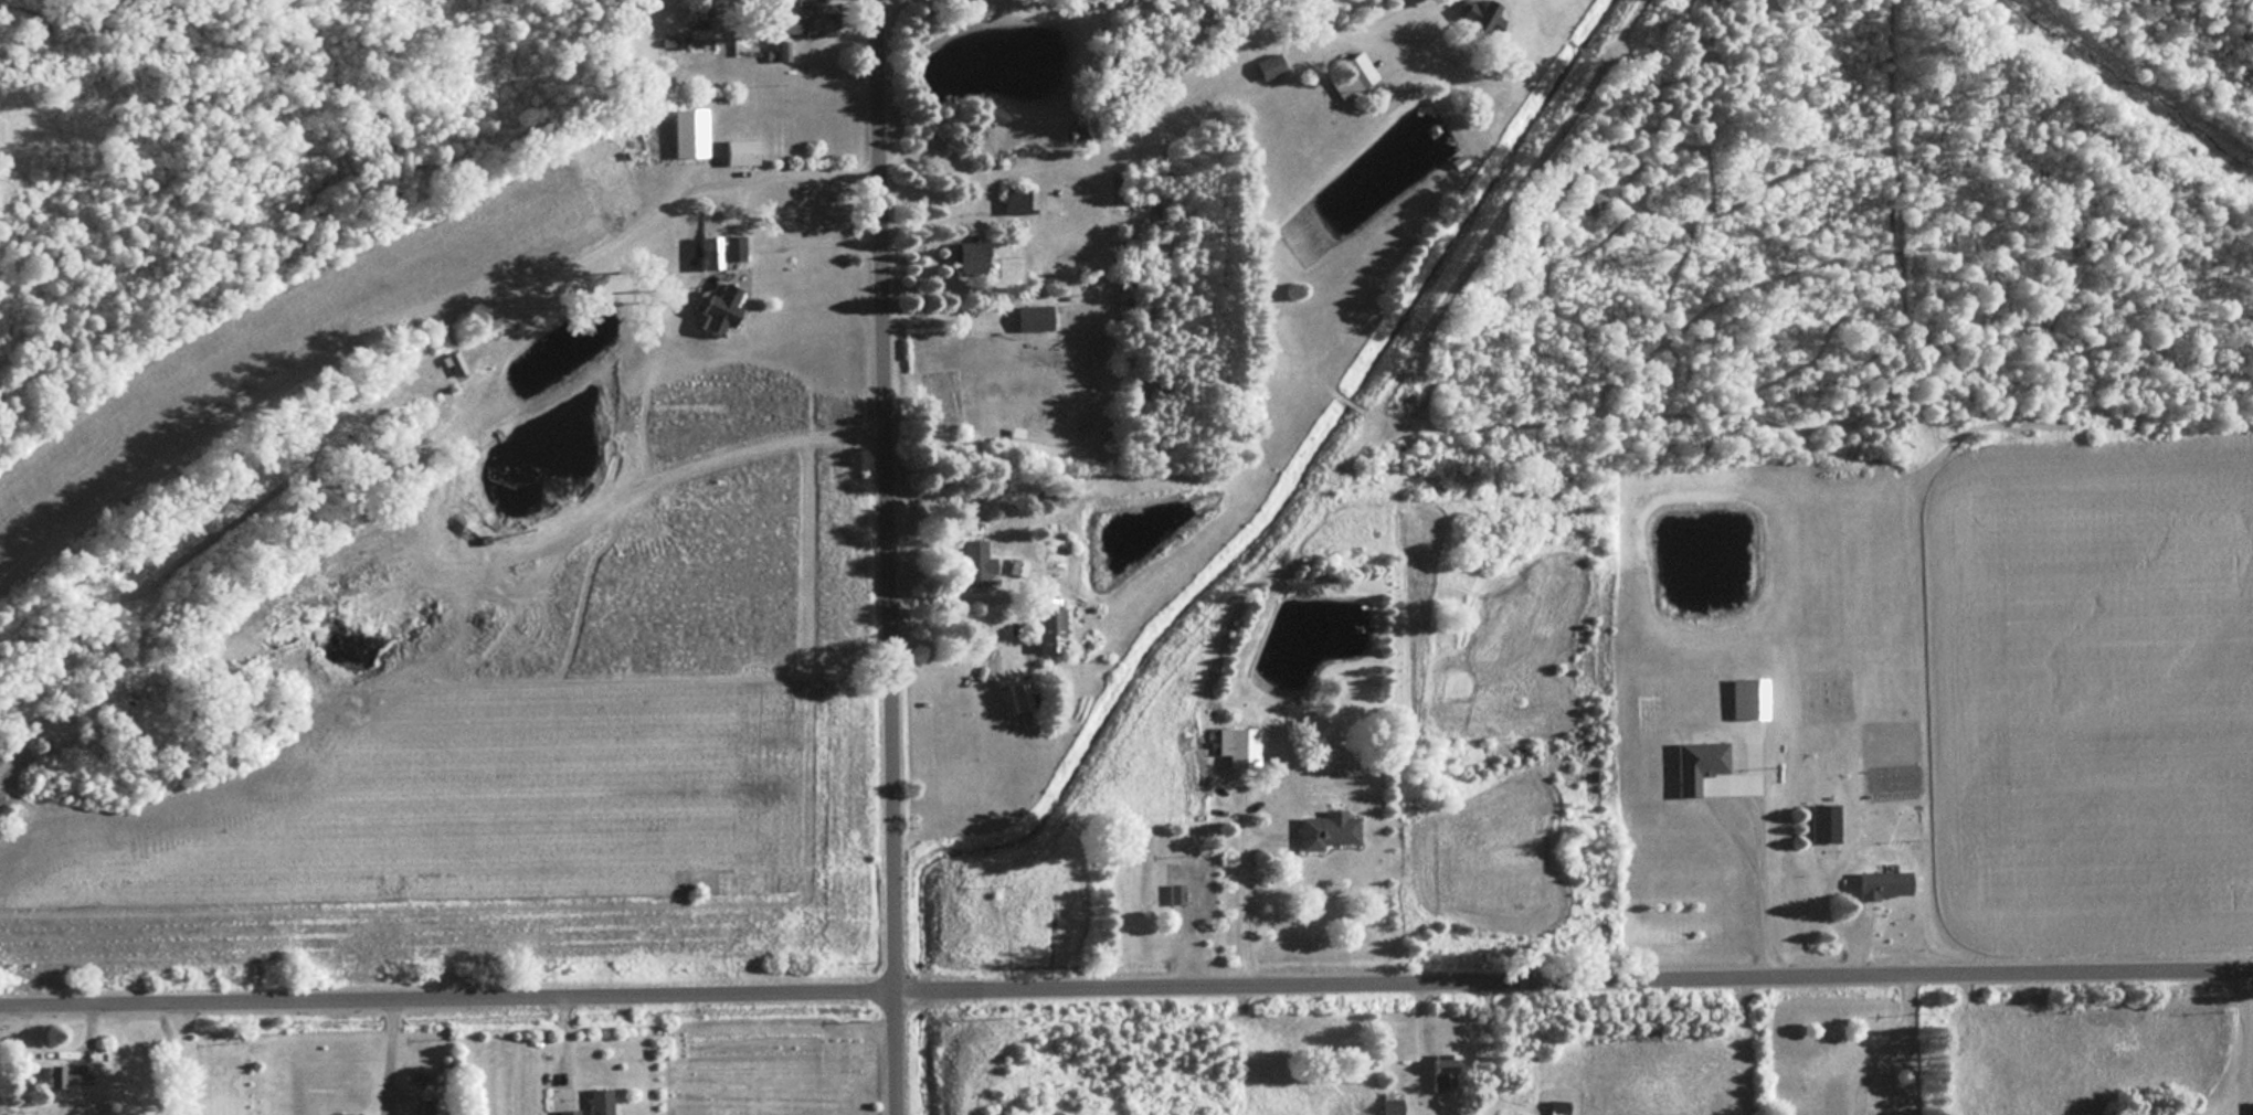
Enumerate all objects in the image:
road: (1325, 15)
building: (1479, 20)
building: (802, 21)
road: (1432, 30)
building: (1265, 66)
building: (1346, 76)
building: (991, 114)
building: (737, 152)
building: (1014, 200)
road: (740, 204)
building: (720, 249)
building: (966, 258)
building: (713, 308)
building: (1030, 318)
building: (447, 401)
road: (884, 557)
building: (972, 562)
building: (1045, 628)
building: (1234, 746)
building: (1693, 764)
building: (1821, 822)
road: (1754, 826)
building: (1323, 830)
building: (1881, 884)
building: (1188, 892)
road: (1238, 902)
road: (1125, 994)
road: (1882, 1049)
road: (178, 1062)
building: (1439, 1072)
building: (61, 1076)
building: (597, 1102)
building: (1387, 1103)
building: (1556, 1106)
building: (401, 1109)
building: (565, 1112)

